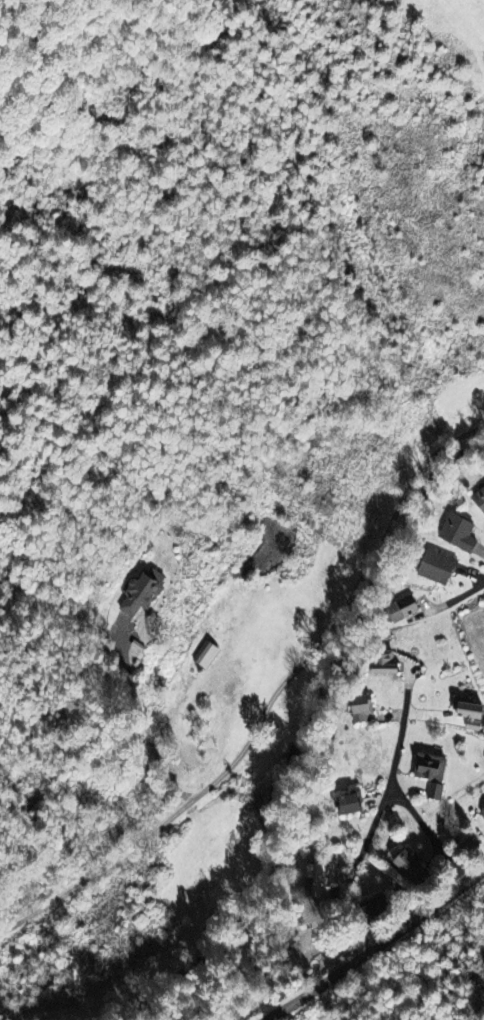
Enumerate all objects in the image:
building: (480, 500)
building: (461, 534)
building: (440, 569)
road: (468, 577)
building: (144, 593)
building: (406, 610)
building: (208, 655)
road: (266, 673)
building: (367, 709)
road: (143, 716)
building: (474, 716)
road: (418, 759)
building: (433, 769)
road: (387, 787)
building: (437, 792)
building: (353, 805)
building: (483, 811)
building: (409, 866)
building: (323, 881)
road: (364, 926)

